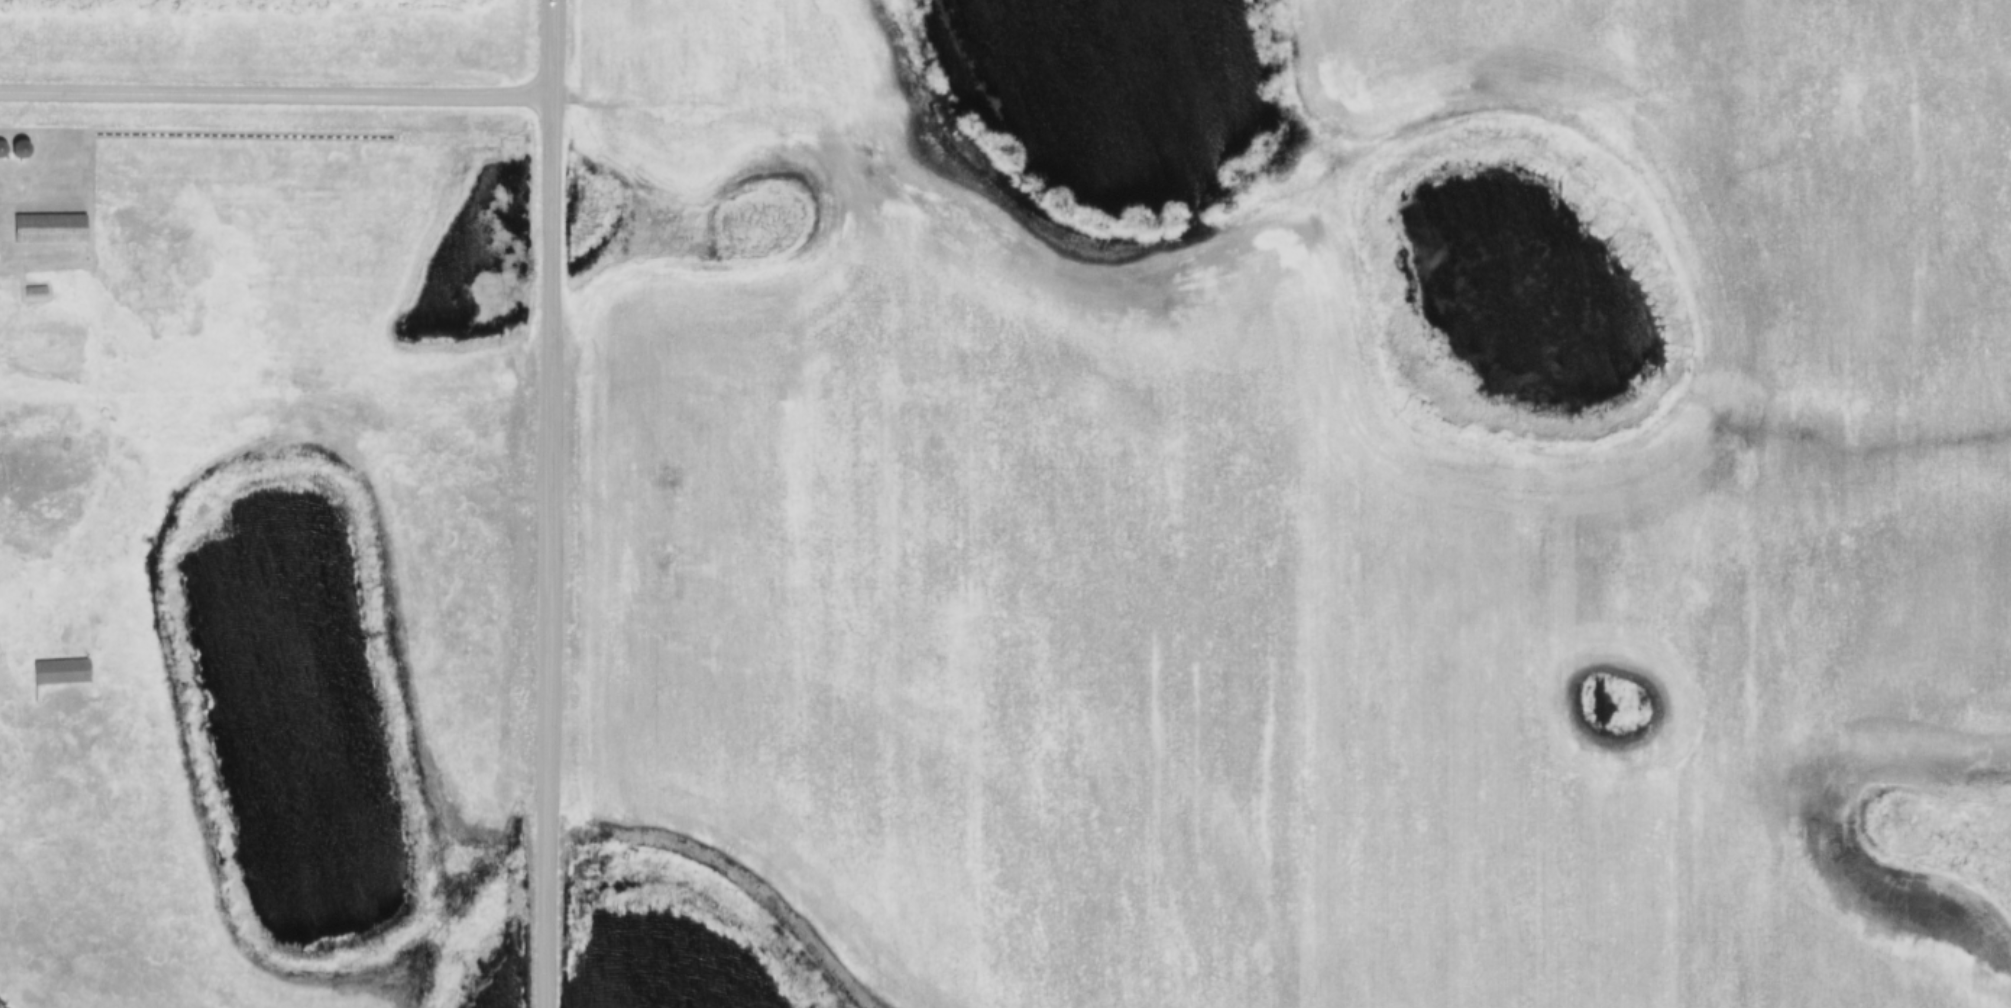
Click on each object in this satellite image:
road: (276, 97)
building: (49, 228)
building: (34, 292)
road: (548, 503)
building: (59, 671)

